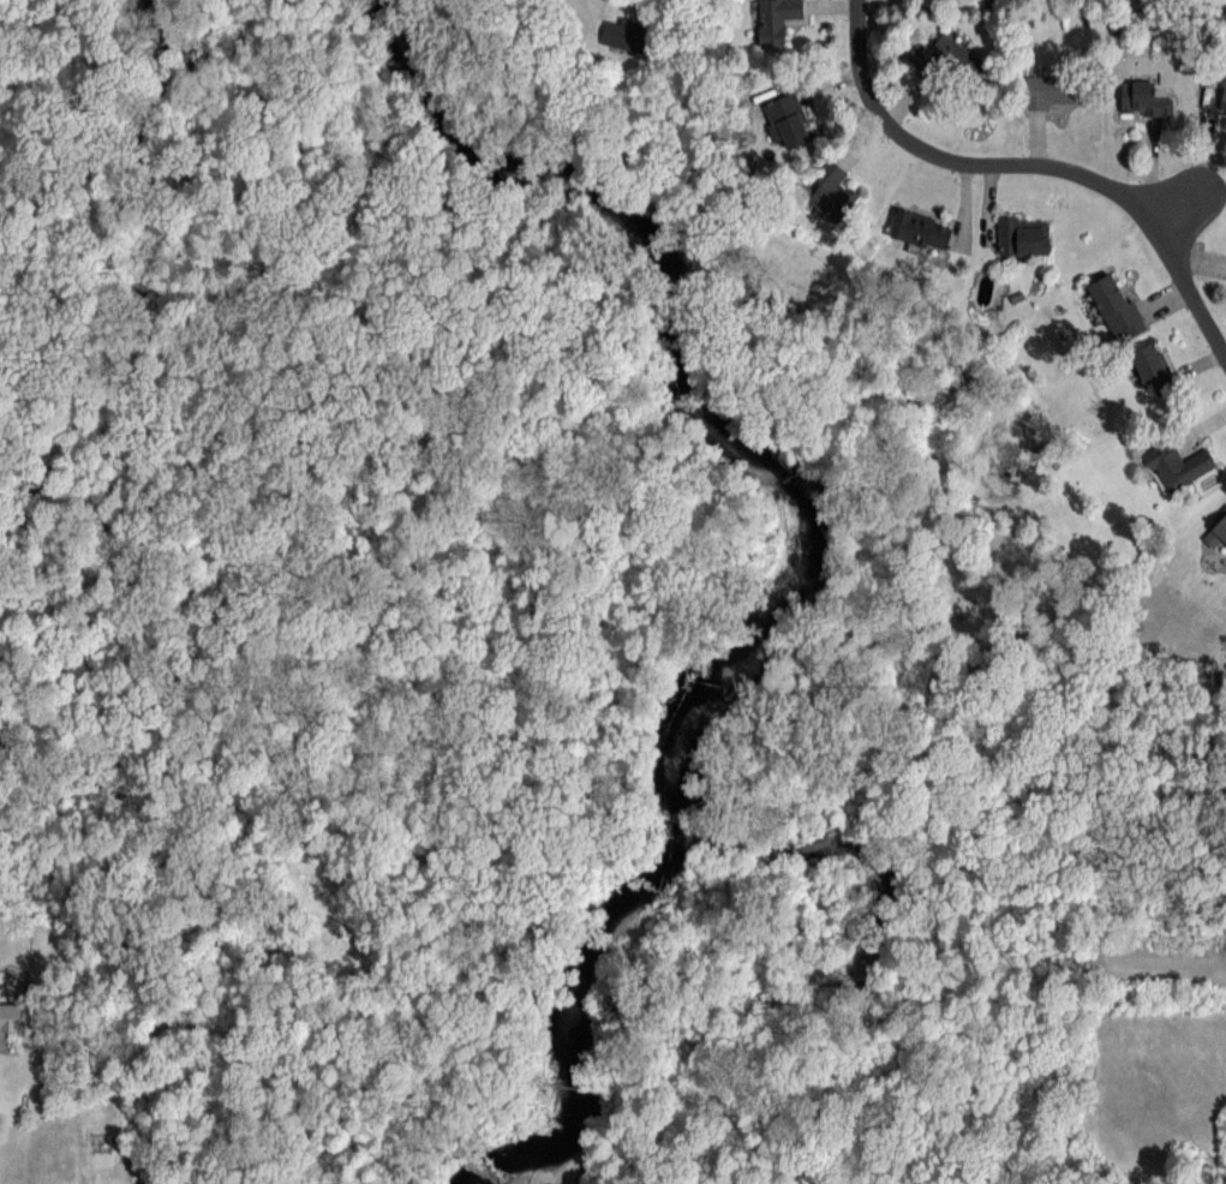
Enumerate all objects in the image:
building: (776, 20)
building: (626, 34)
building: (950, 59)
building: (1045, 90)
building: (1222, 97)
building: (1143, 98)
building: (789, 122)
road: (1046, 161)
building: (825, 192)
building: (921, 229)
building: (1023, 237)
building: (1116, 304)
building: (1152, 364)
park: (315, 430)
building: (1177, 466)
building: (1216, 530)
river: (789, 542)
building: (10, 1017)

